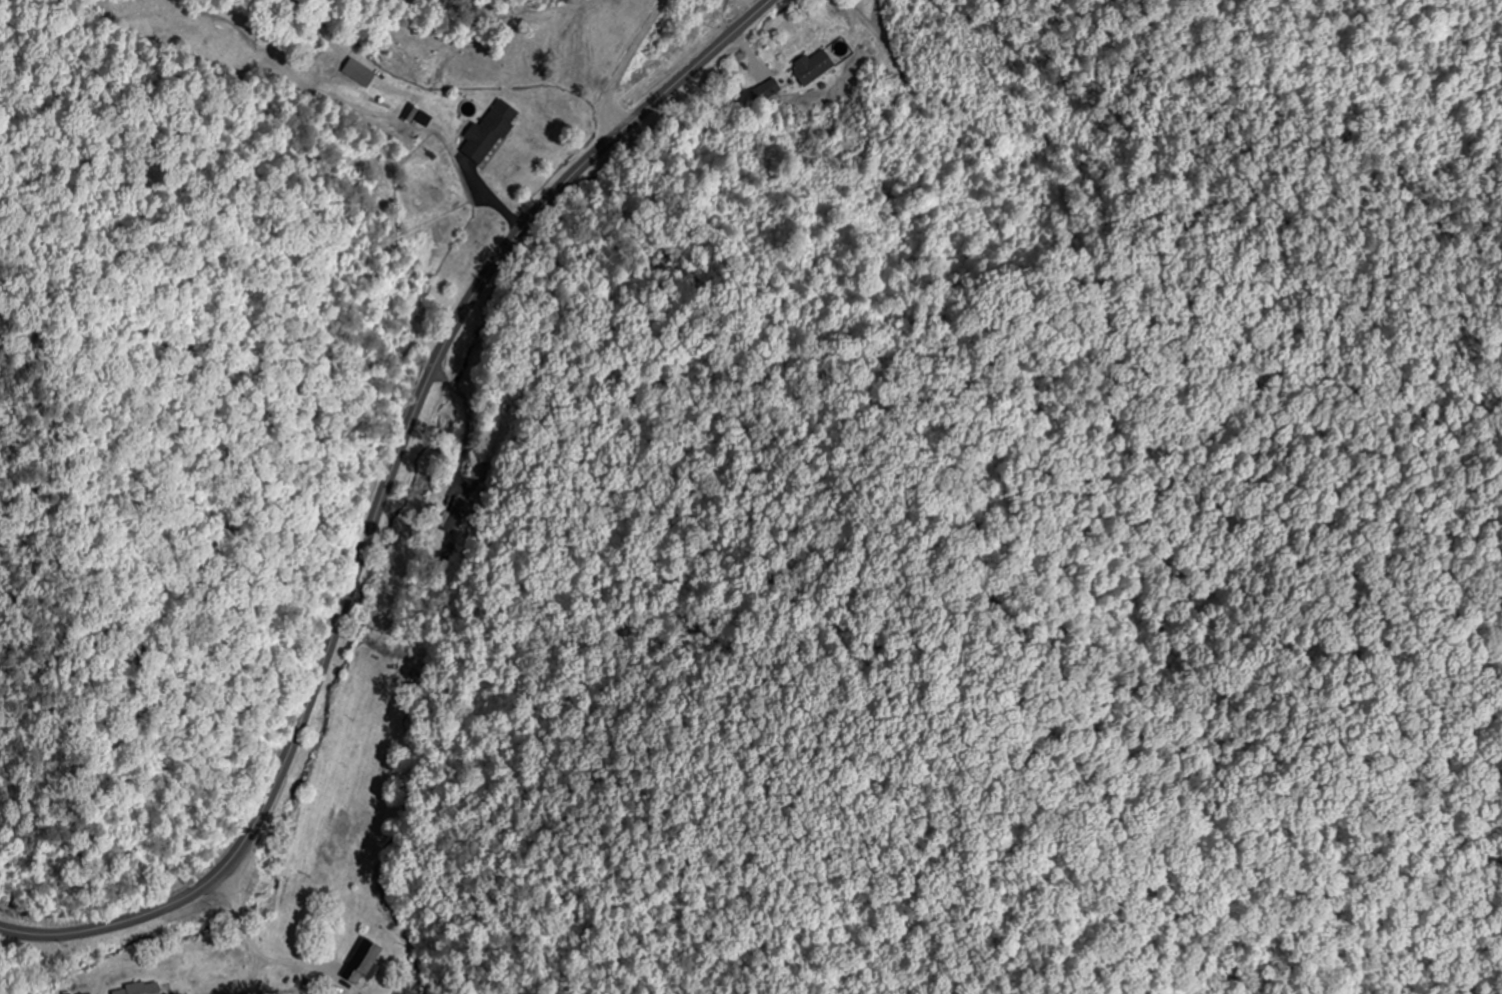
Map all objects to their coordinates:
building: (361, 64)
building: (815, 66)
building: (769, 89)
building: (492, 131)
building: (476, 473)
road: (382, 498)
building: (451, 516)
building: (365, 961)
building: (285, 980)
building: (140, 989)

